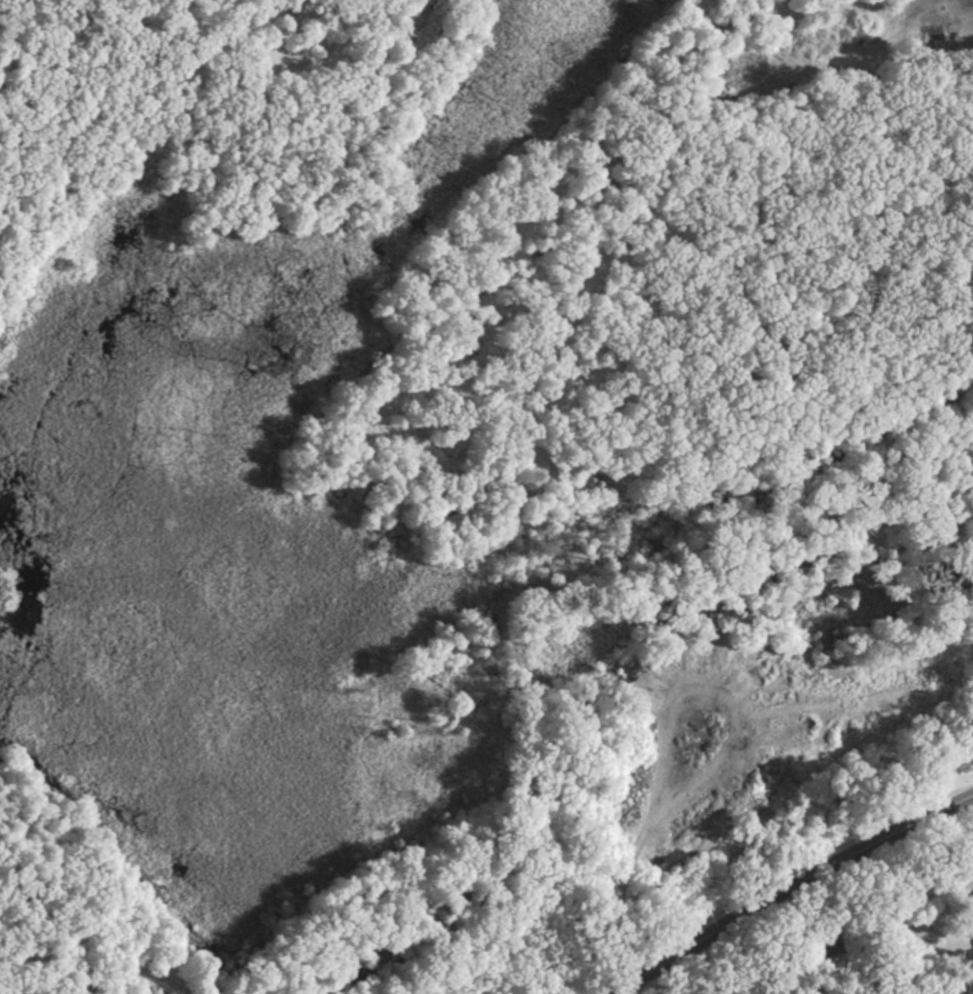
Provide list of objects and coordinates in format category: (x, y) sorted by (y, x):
road: (782, 881)
building: (970, 909)

